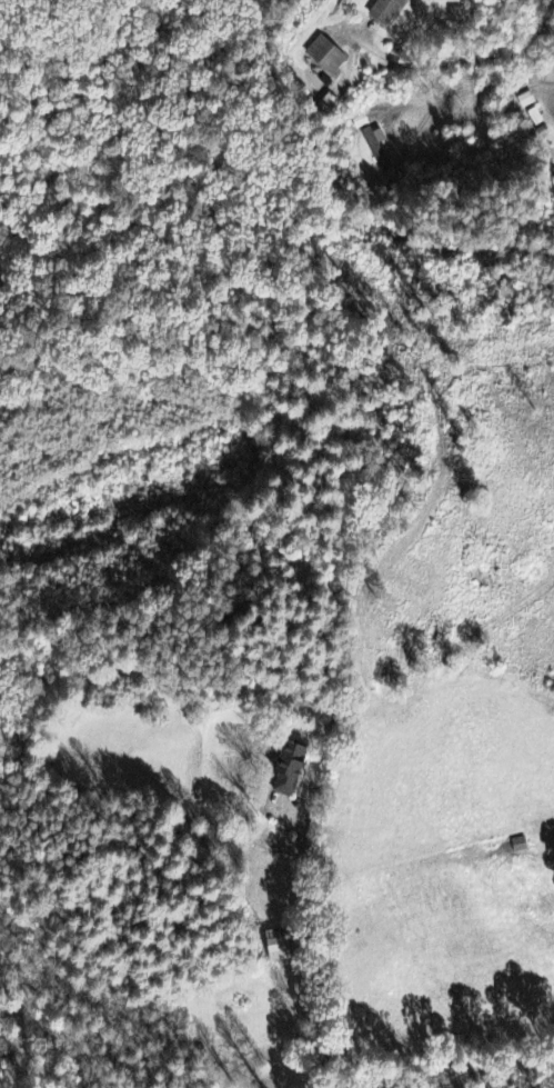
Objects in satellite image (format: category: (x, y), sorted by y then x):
building: (390, 11)
building: (328, 56)
building: (293, 769)
building: (281, 945)

